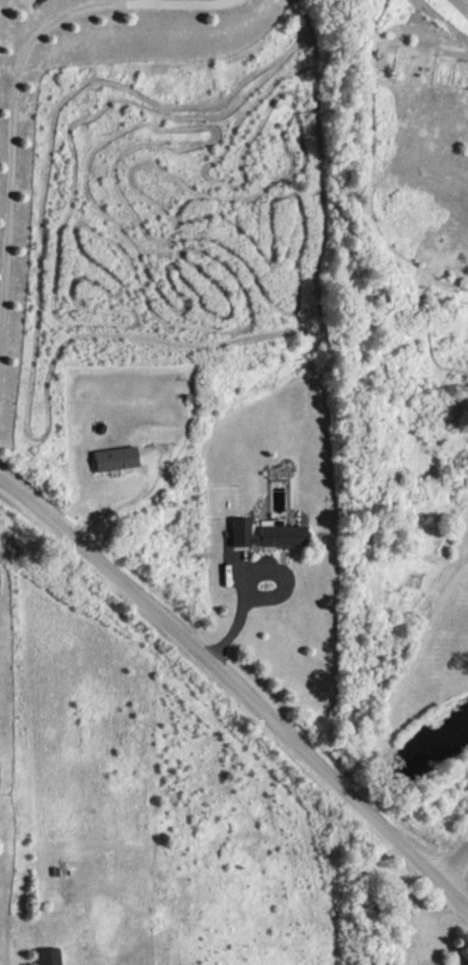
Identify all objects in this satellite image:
road: (12, 154)
building: (114, 457)
road: (118, 500)
building: (264, 534)
road: (251, 571)
road: (403, 678)
road: (240, 690)
road: (454, 868)
building: (48, 956)

